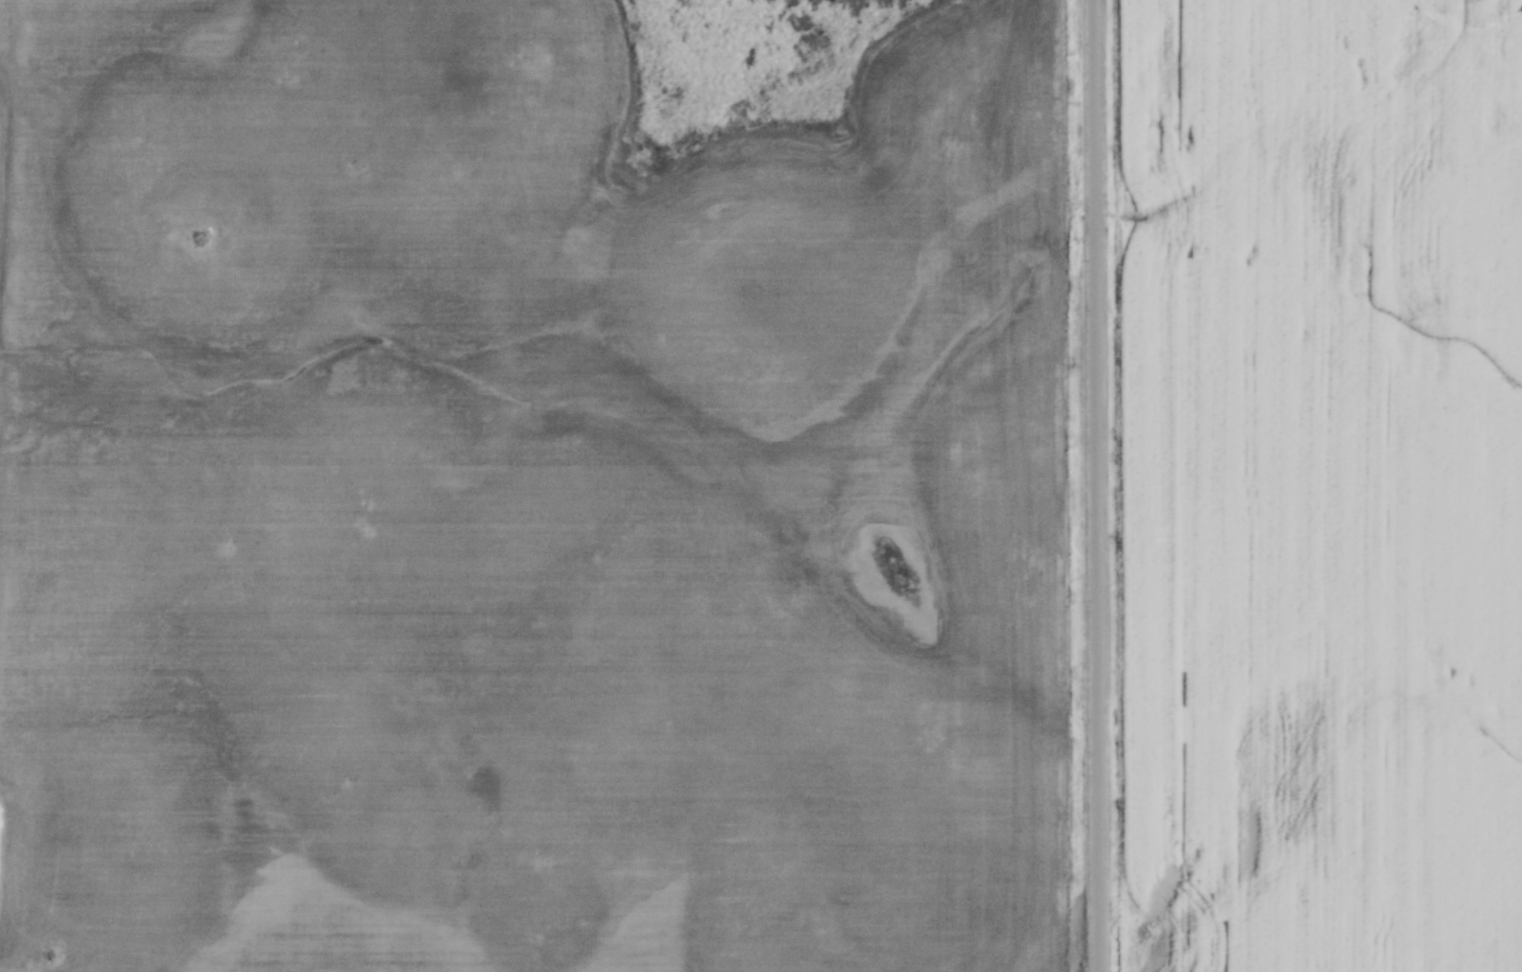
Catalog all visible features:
road: (1092, 486)

